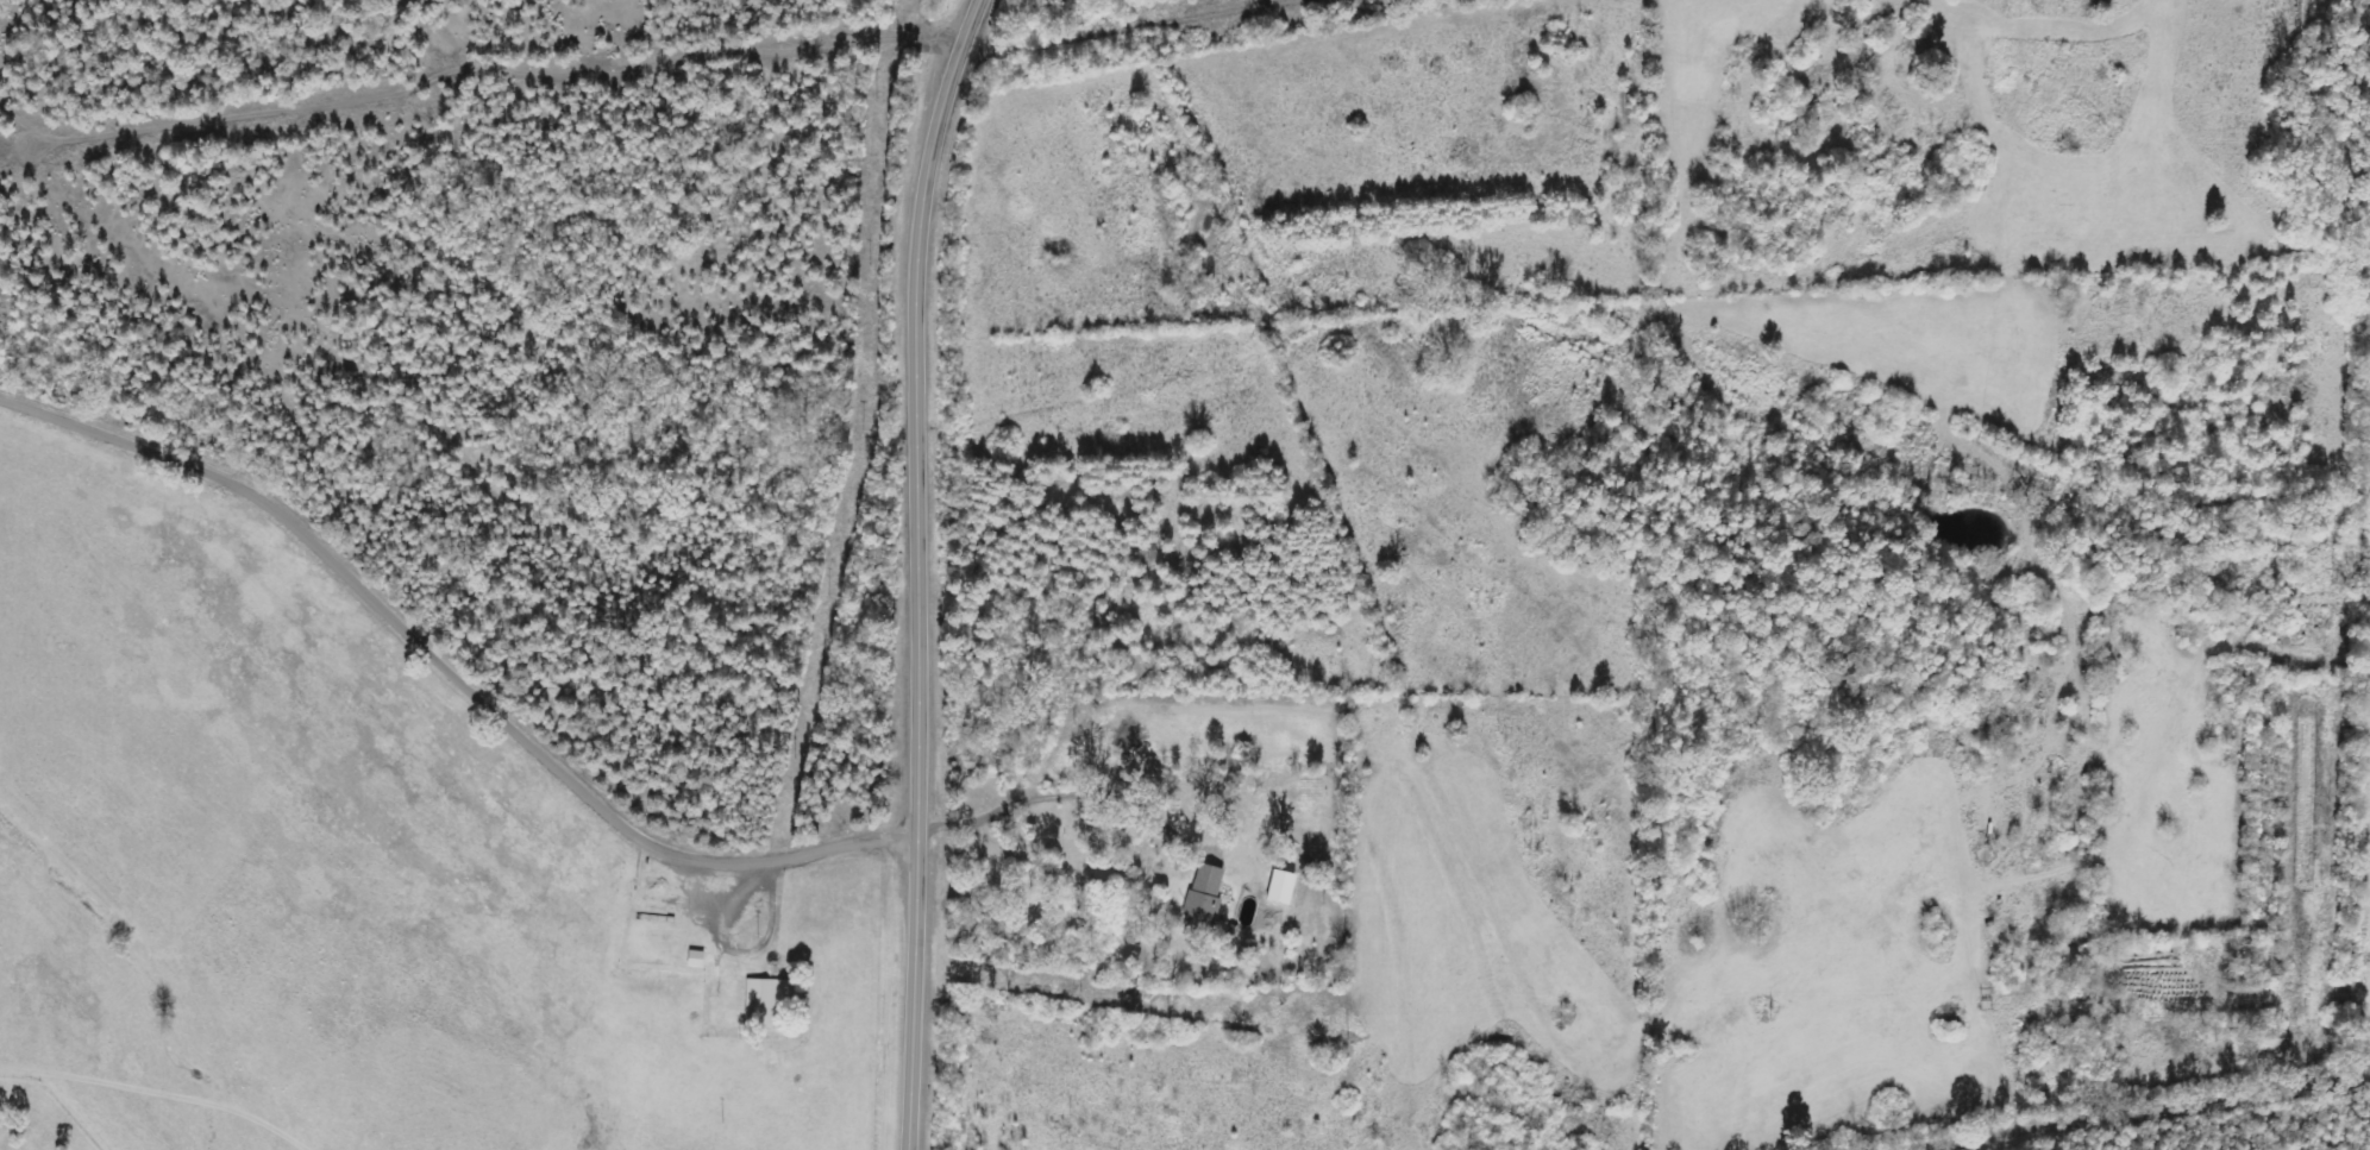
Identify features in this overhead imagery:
road: (910, 571)
road: (453, 667)
building: (1285, 886)
building: (1206, 898)
building: (771, 1001)
road: (2158, 1111)

